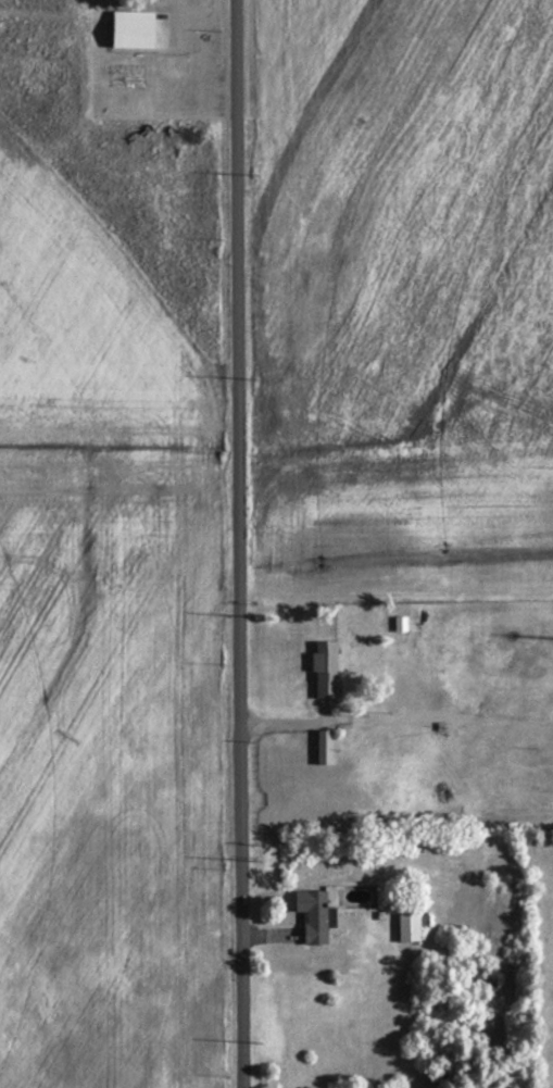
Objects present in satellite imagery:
building: (135, 29)
road: (395, 432)
road: (240, 543)
building: (327, 671)
building: (325, 750)
building: (316, 916)
building: (411, 928)

